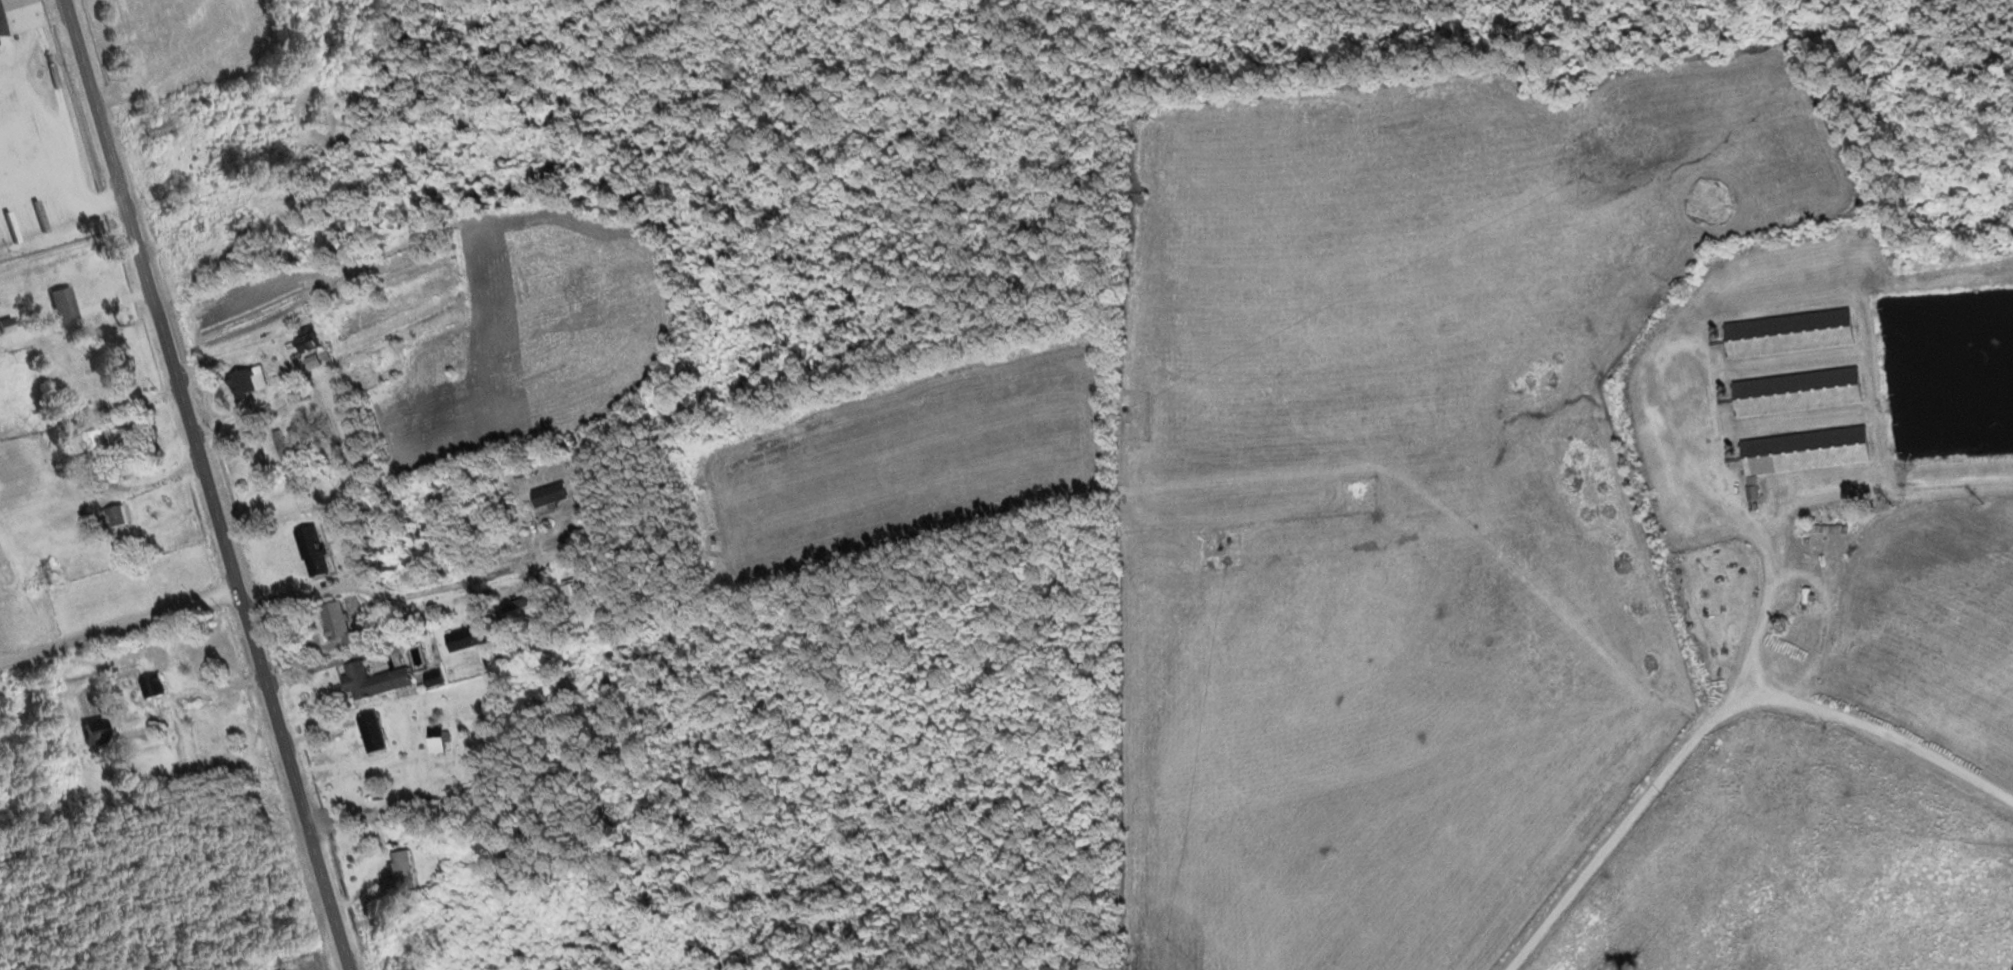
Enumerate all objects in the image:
building: (10, 13)
building: (155, 129)
road: (64, 230)
building: (60, 305)
building: (3, 327)
building: (1786, 334)
building: (300, 340)
building: (239, 383)
building: (1794, 392)
building: (107, 441)
building: (277, 445)
building: (1803, 451)
road: (207, 485)
building: (1751, 493)
building: (546, 495)
building: (110, 517)
road: (1754, 547)
building: (309, 551)
road: (422, 593)
building: (570, 593)
building: (1787, 598)
building: (518, 603)
road: (118, 618)
building: (332, 621)
building: (461, 639)
building: (431, 678)
building: (370, 680)
building: (150, 685)
road: (1709, 717)
building: (368, 732)
building: (90, 734)
building: (435, 736)
building: (398, 871)
building: (288, 969)

